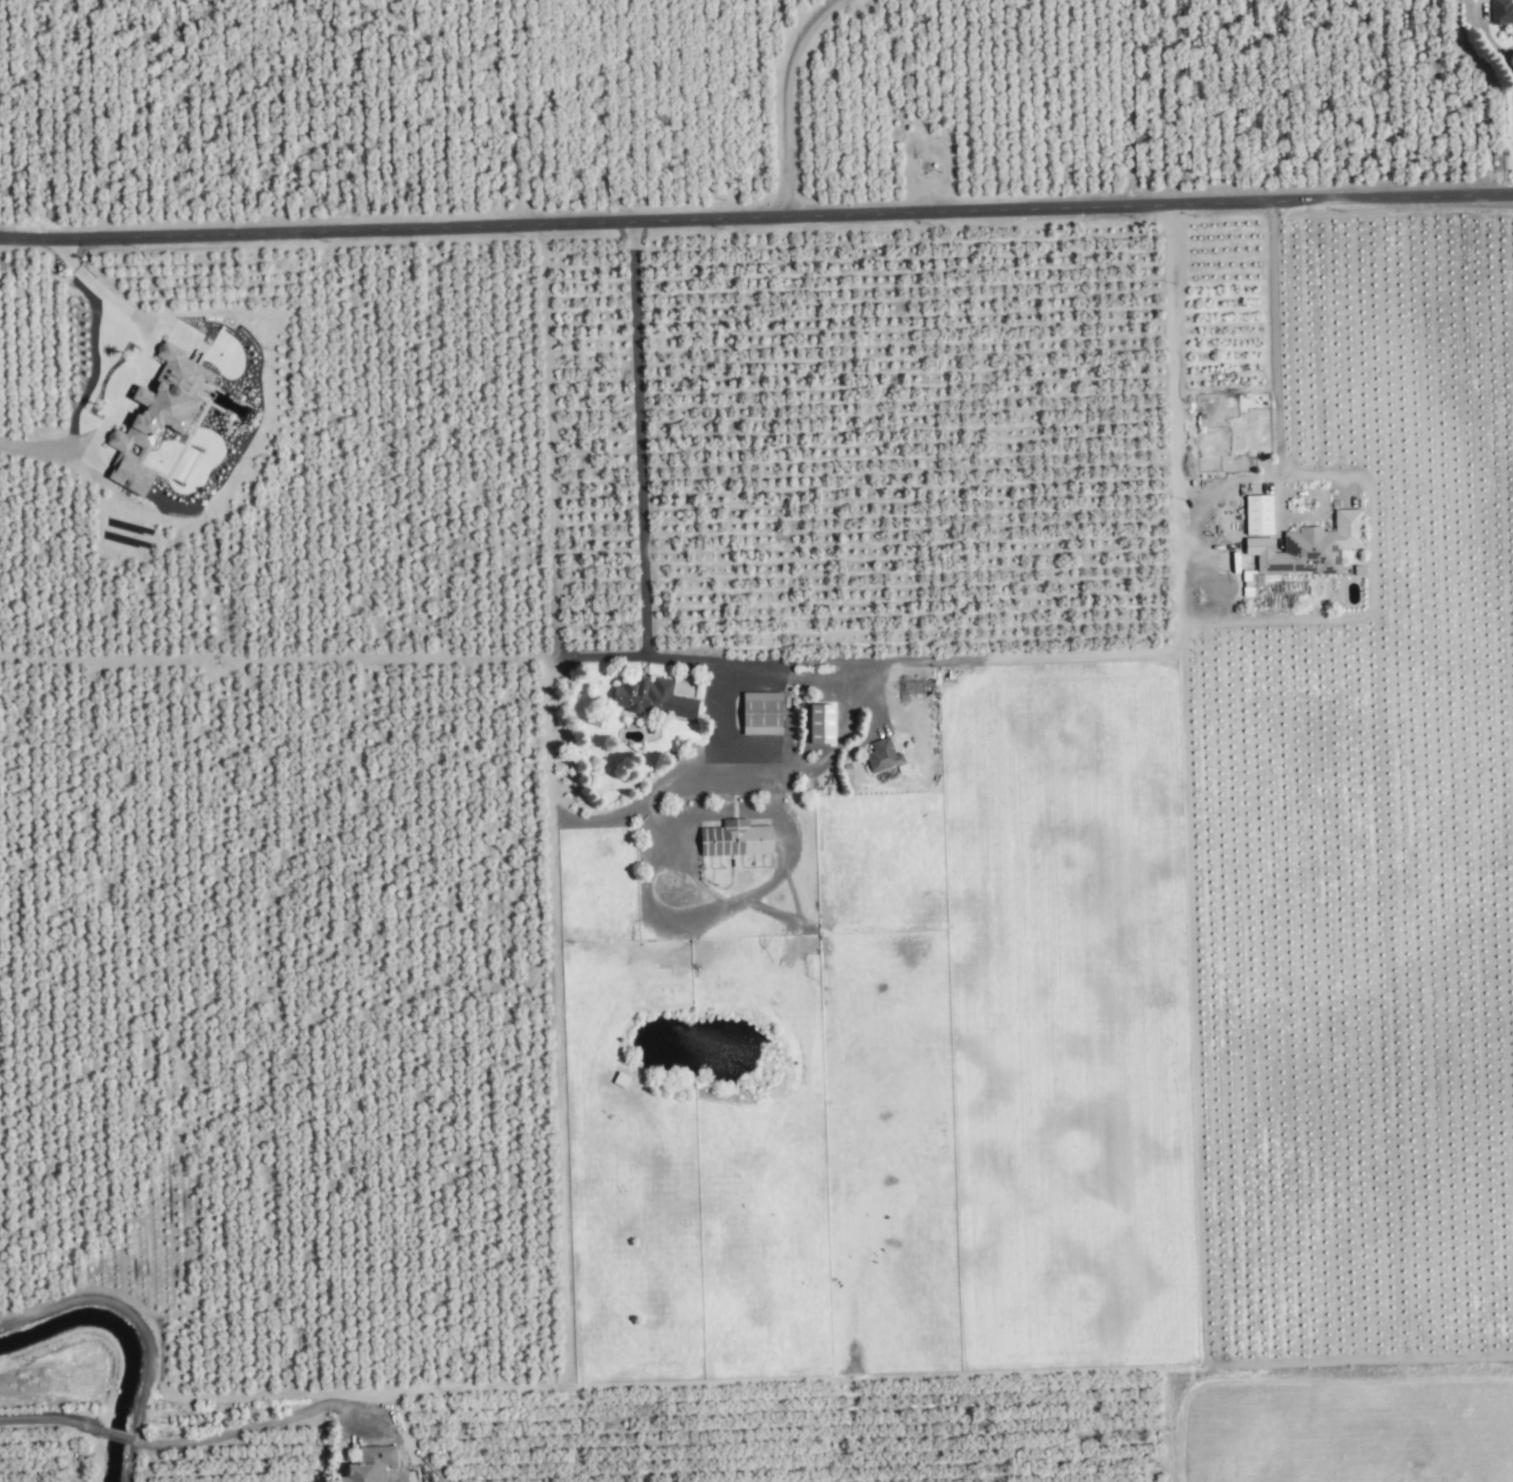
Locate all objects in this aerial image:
building: (1503, 12)
road: (784, 96)
road: (756, 210)
road: (1172, 351)
road: (83, 366)
road: (1275, 378)
building: (175, 393)
building: (1211, 468)
building: (134, 476)
building: (1261, 514)
building: (1355, 530)
building: (1305, 553)
road: (1054, 656)
road: (753, 667)
road: (720, 672)
building: (655, 698)
building: (764, 714)
crop: (774, 751)
building: (886, 755)
building: (737, 839)
road: (560, 1201)
river: (114, 1349)
road: (181, 1442)
building: (372, 1464)

